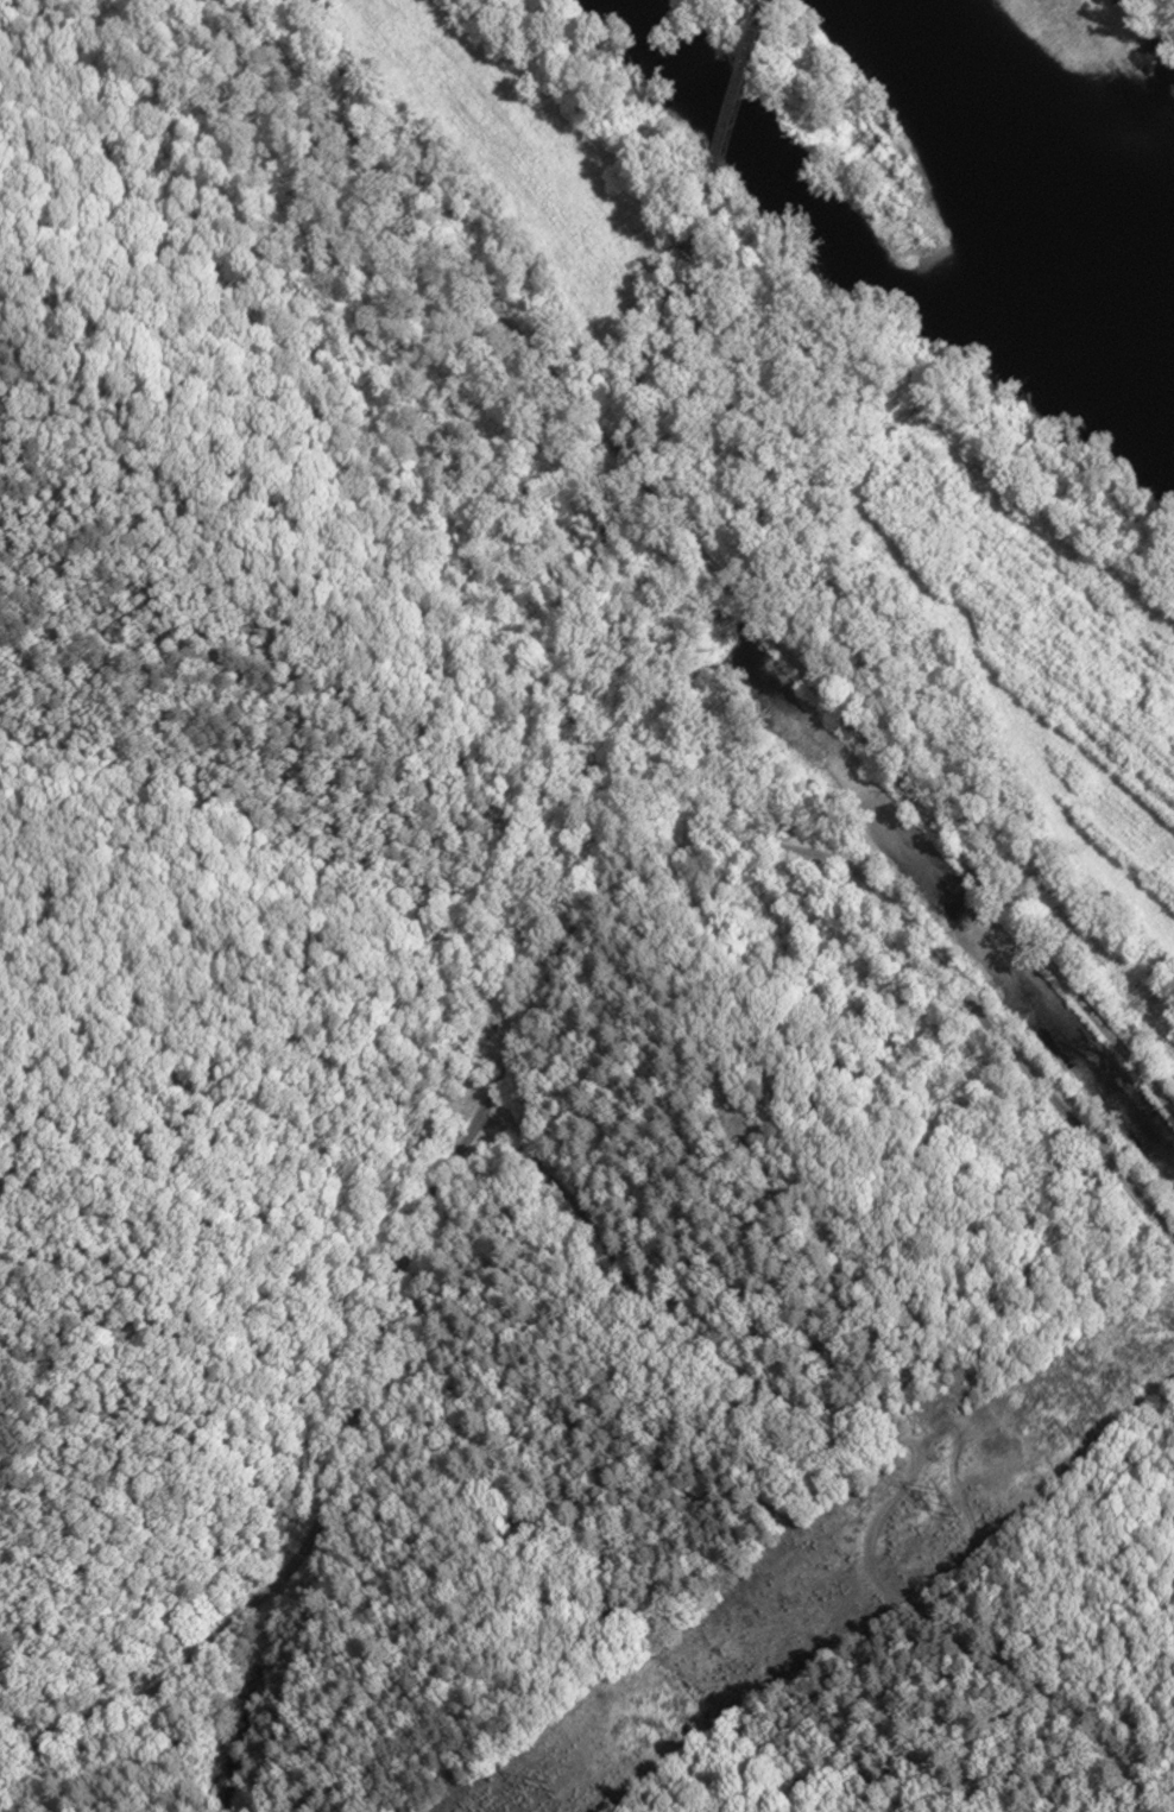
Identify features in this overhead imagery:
river: (1058, 154)
road: (702, 555)
road: (519, 1042)
power tower: (947, 1504)
power tower: (550, 1787)

